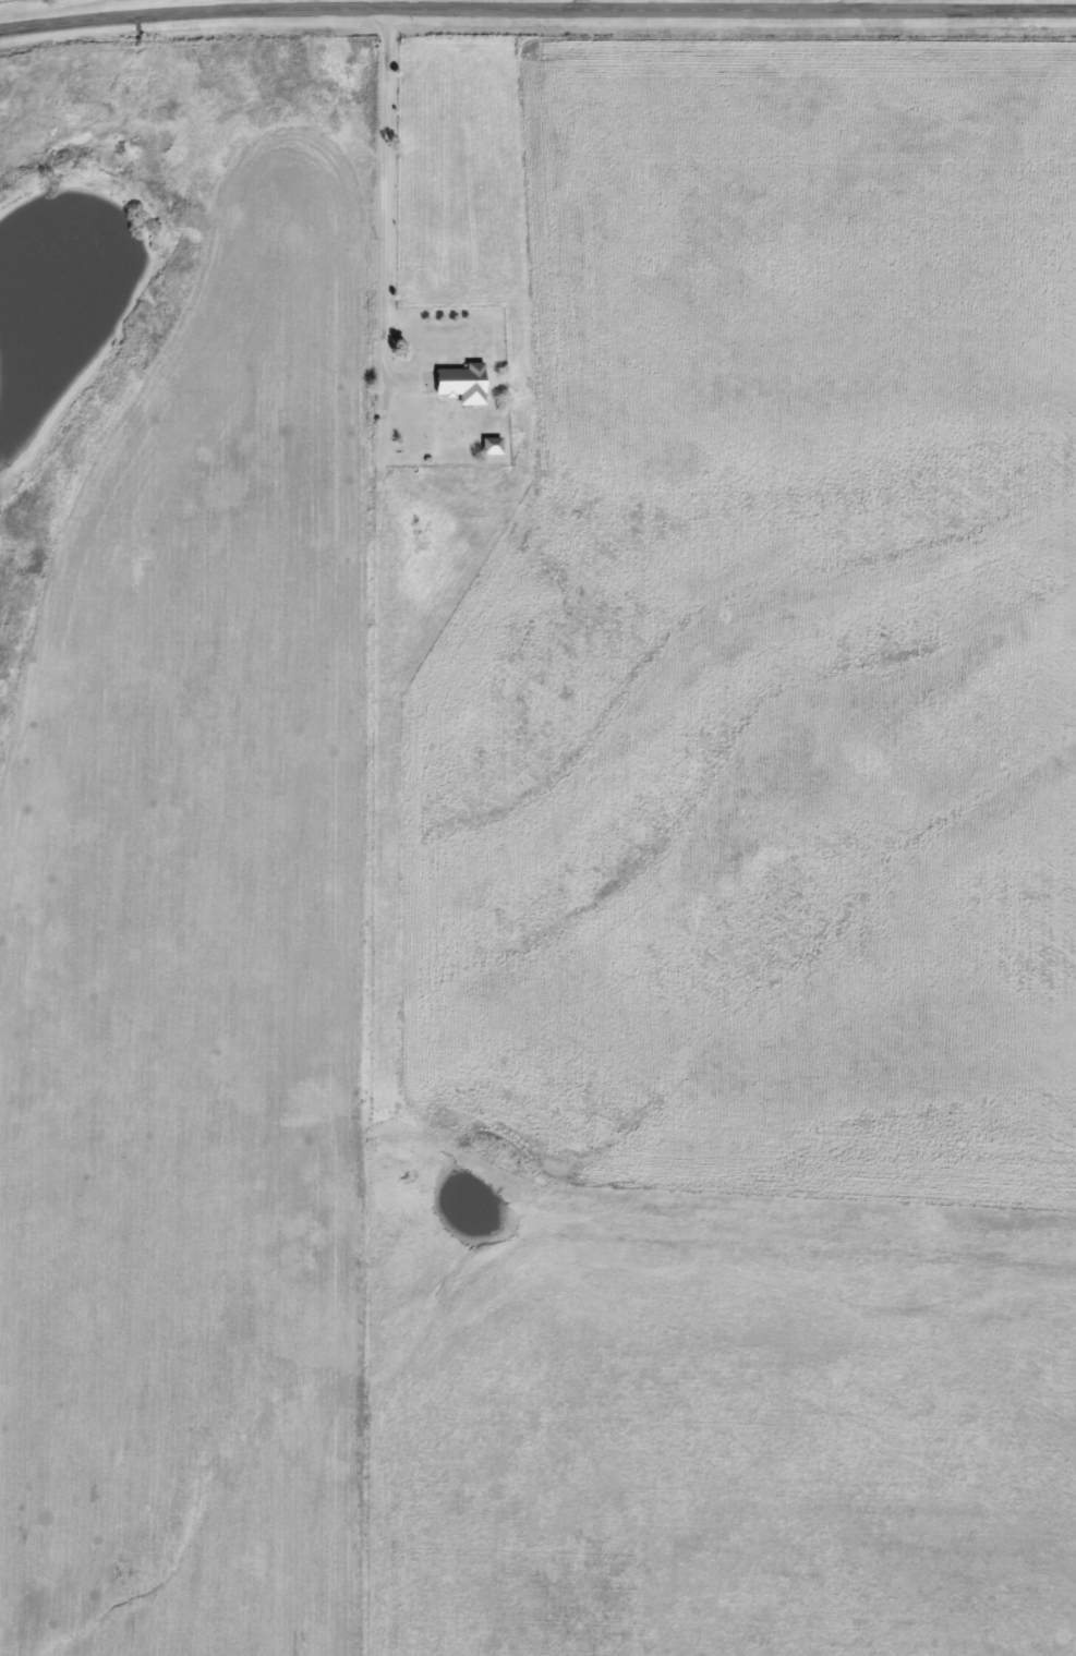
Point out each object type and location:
road: (536, 10)
building: (458, 384)

